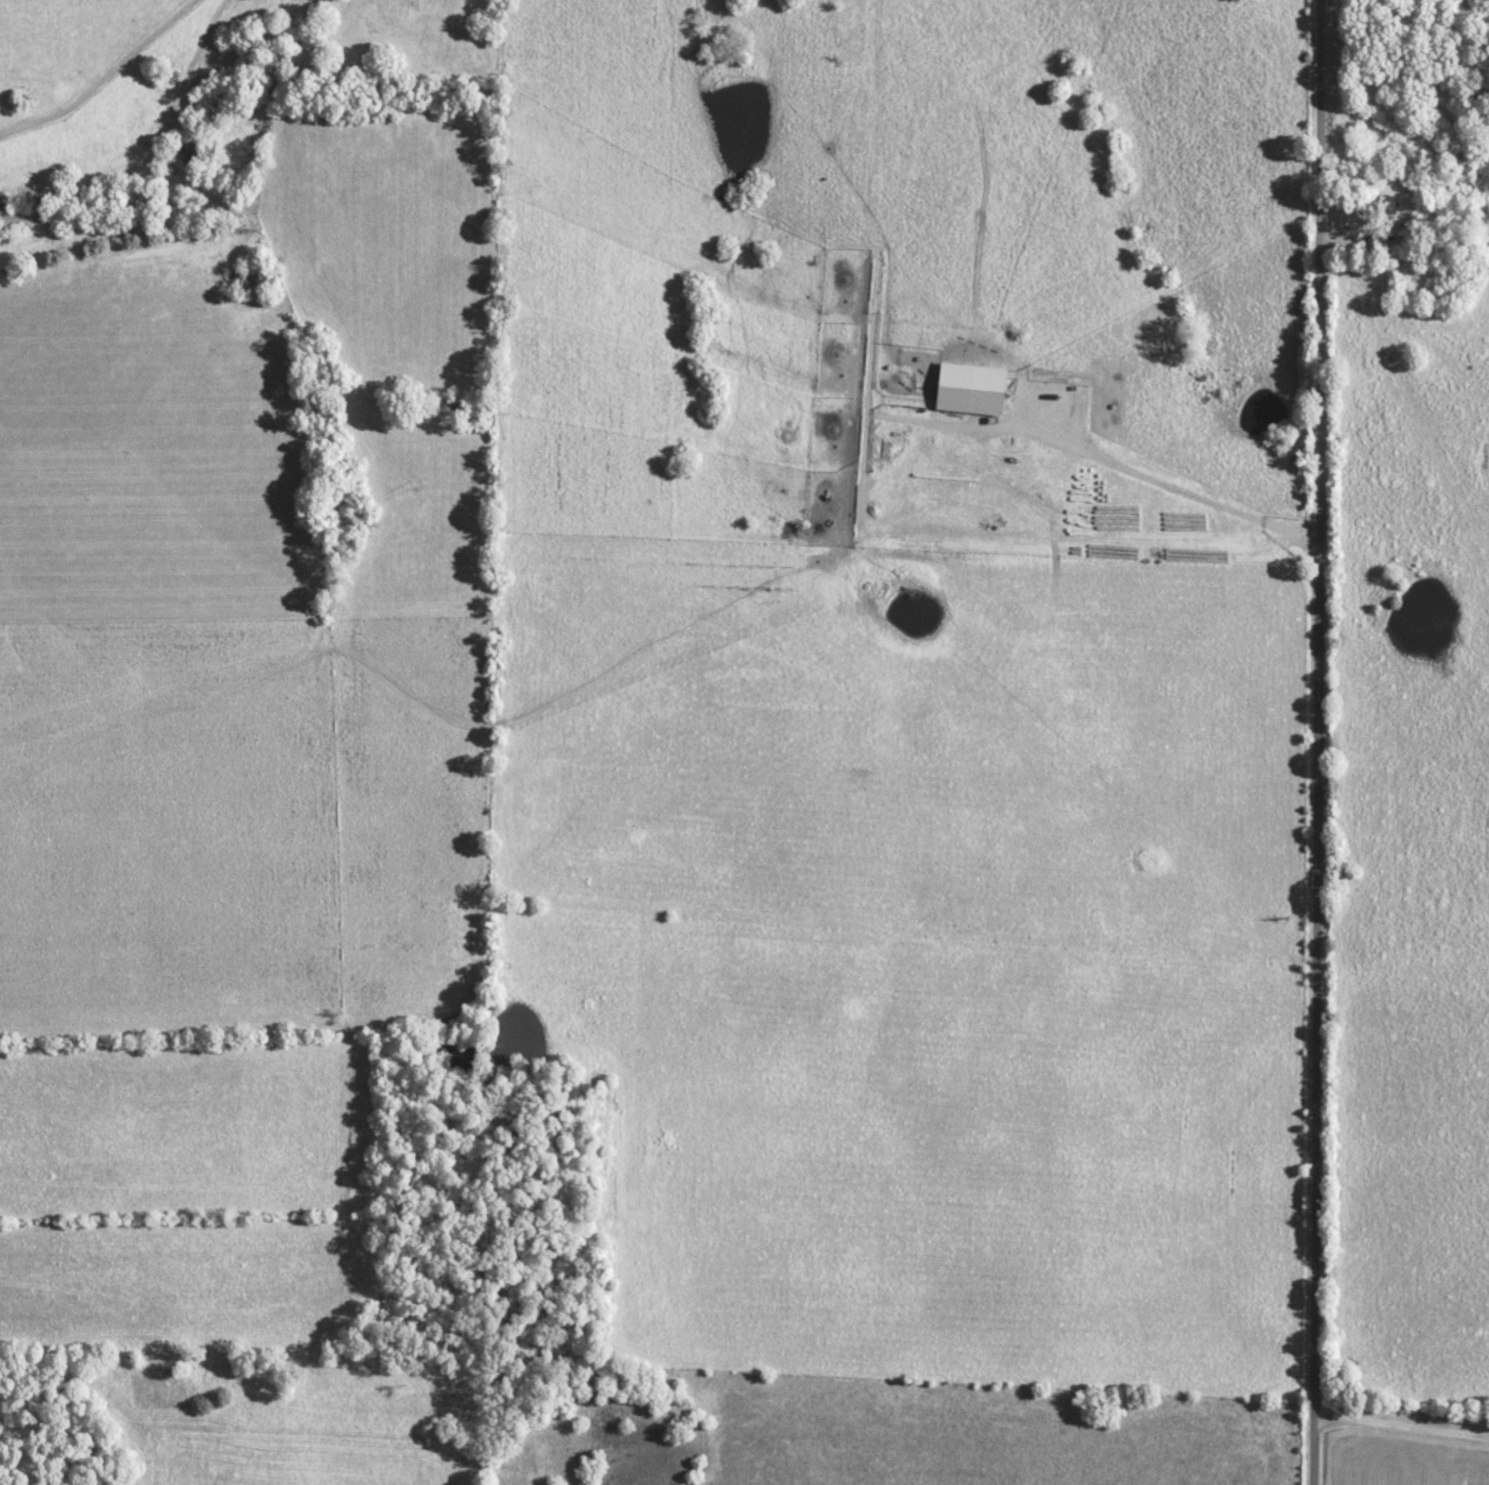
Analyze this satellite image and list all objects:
building: (1379, 205)
road: (1323, 742)
road: (1403, 1424)

